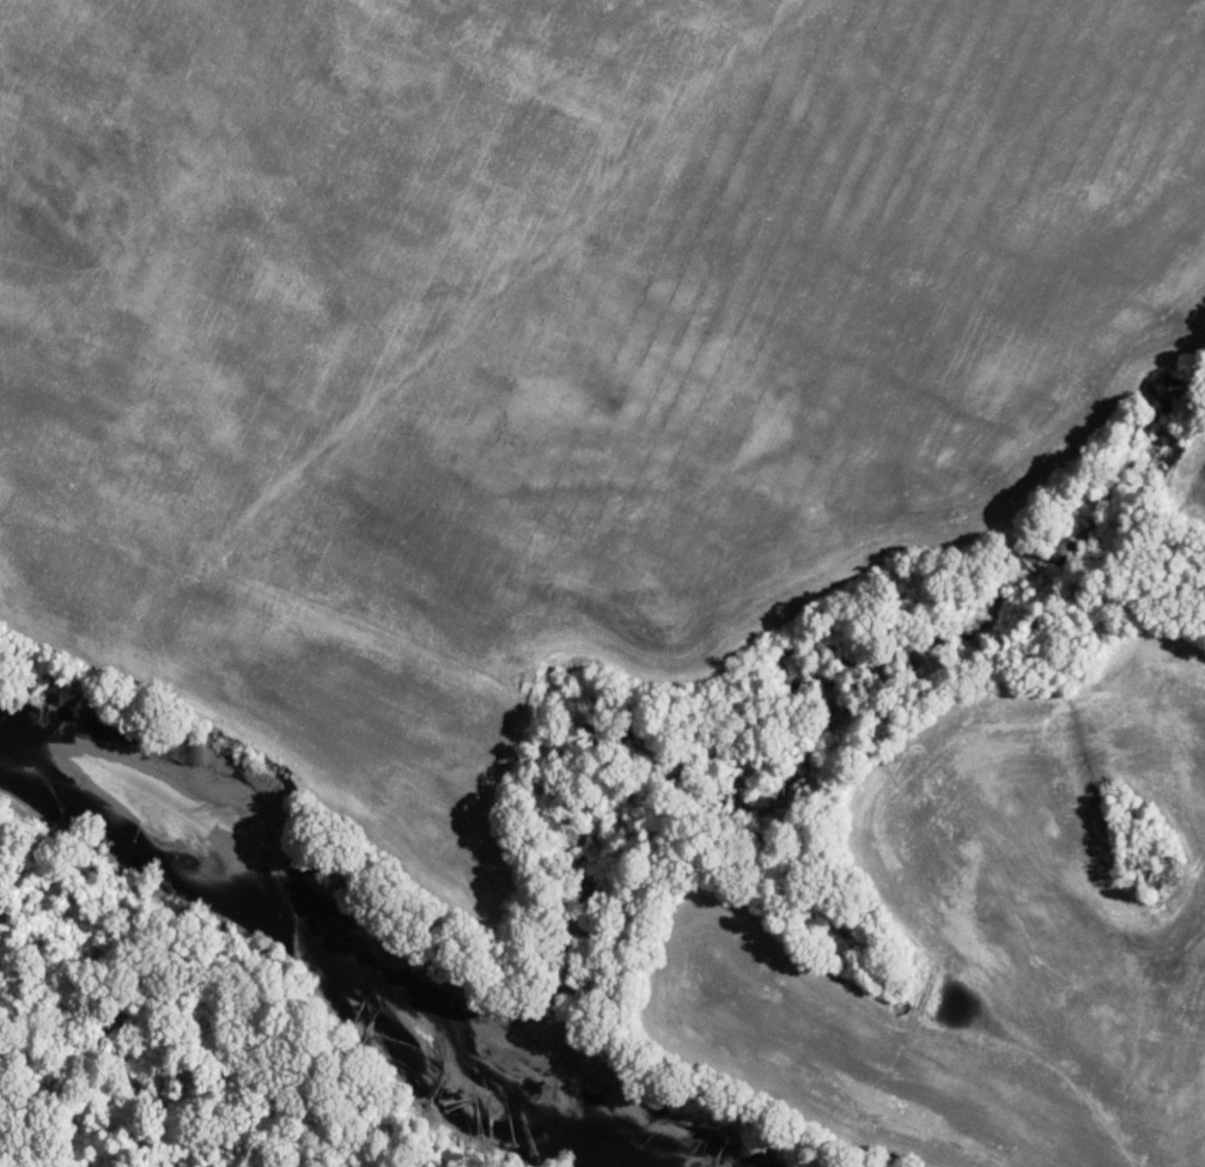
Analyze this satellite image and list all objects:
river: (347, 962)

